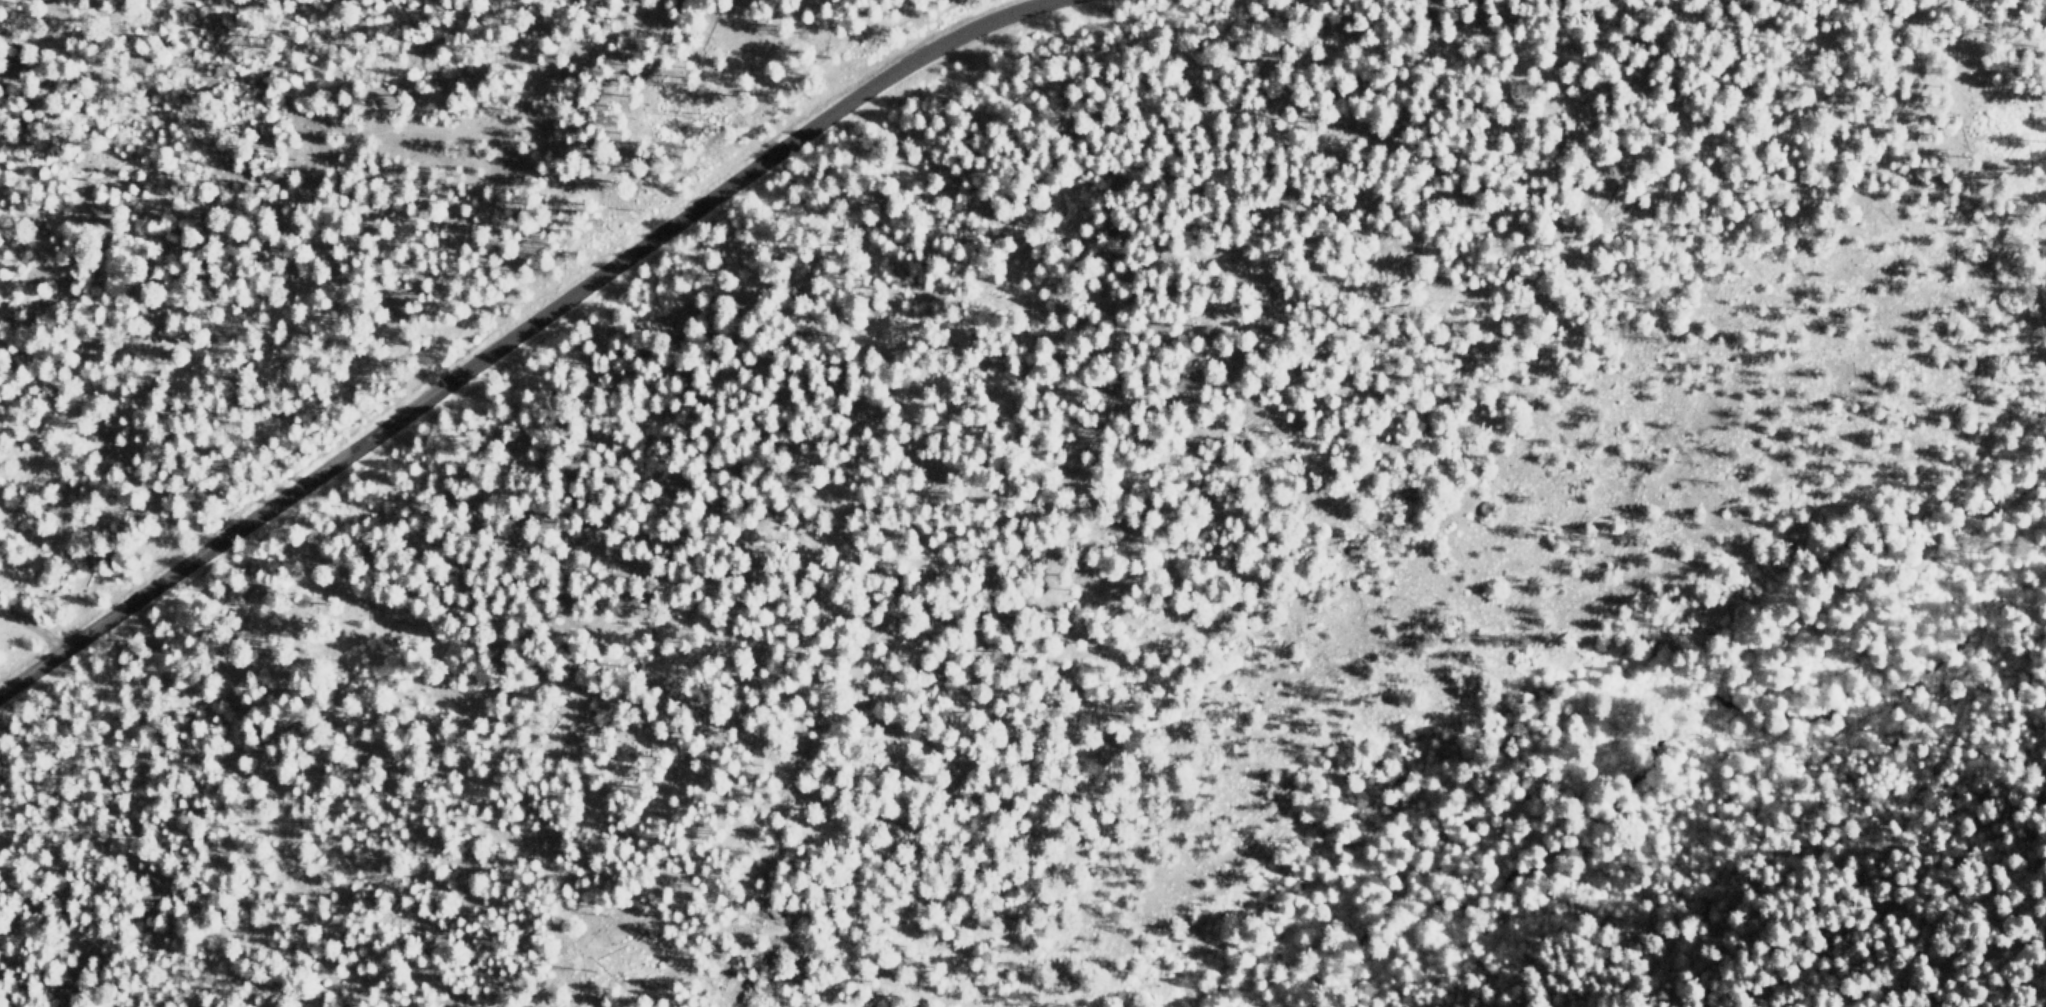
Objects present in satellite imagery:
road: (515, 329)
road: (26, 629)

